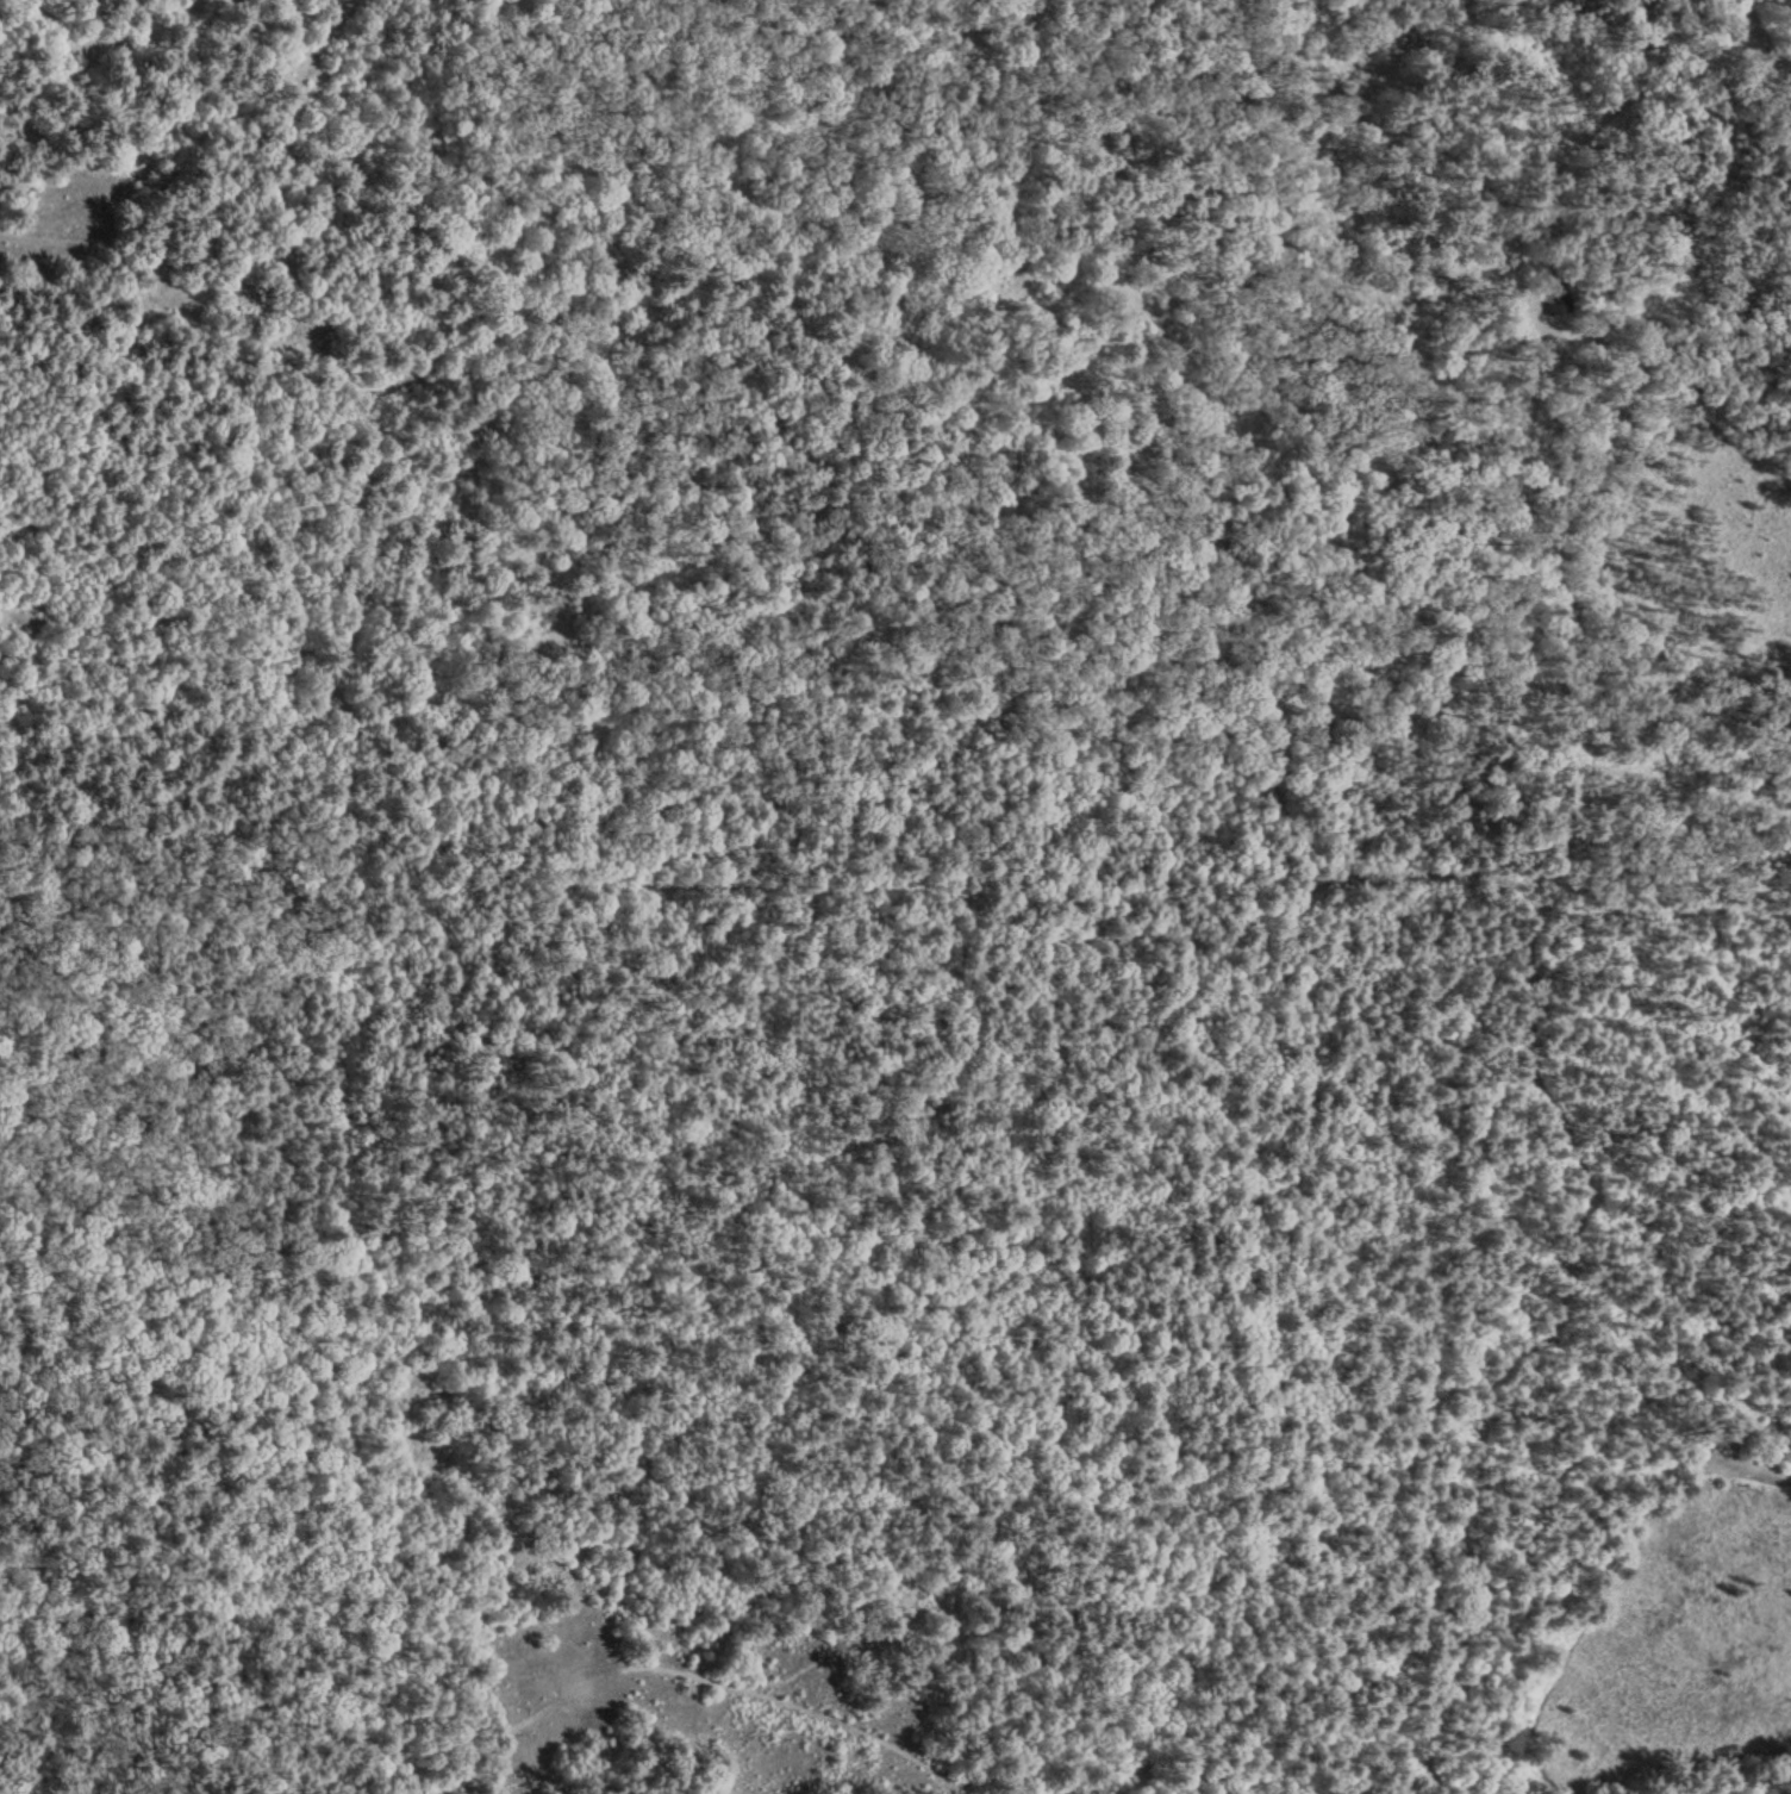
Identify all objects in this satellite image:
road: (1764, 37)
building: (1552, 297)

